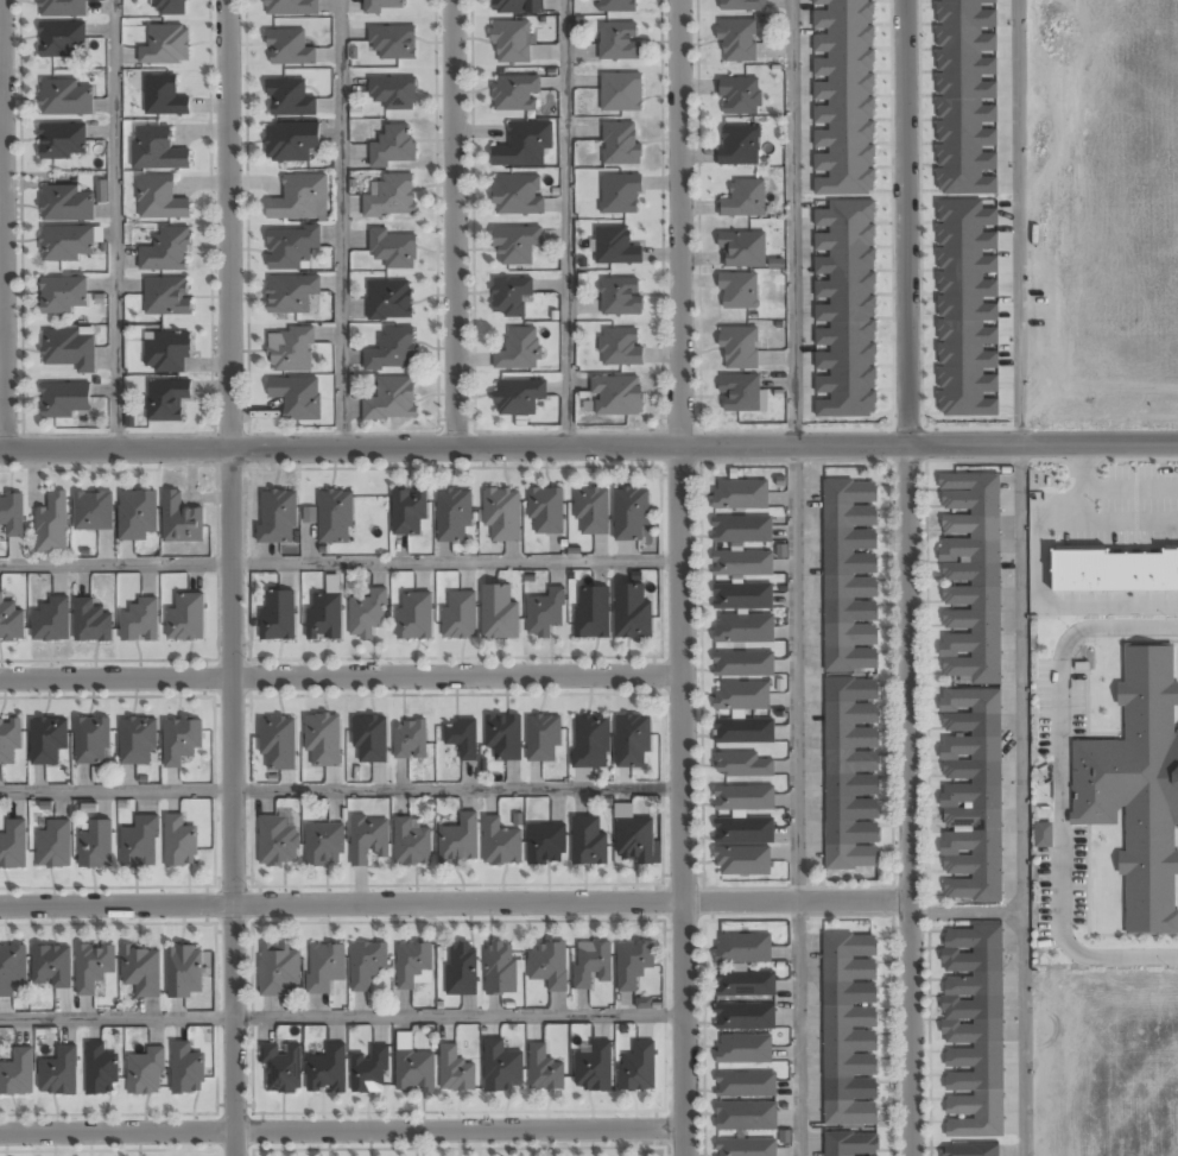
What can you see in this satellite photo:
building: (384, 5)
building: (740, 5)
building: (617, 6)
building: (169, 7)
building: (290, 7)
building: (515, 7)
building: (62, 8)
building: (736, 39)
building: (62, 40)
building: (392, 40)
building: (617, 42)
building: (509, 43)
building: (165, 45)
building: (289, 48)
building: (392, 91)
building: (619, 91)
building: (513, 93)
building: (163, 96)
building: (737, 96)
building: (843, 96)
building: (964, 96)
building: (64, 97)
building: (287, 99)
building: (62, 143)
building: (289, 143)
building: (620, 144)
building: (392, 145)
building: (522, 145)
building: (737, 146)
building: (156, 149)
building: (101, 190)
building: (620, 192)
building: (515, 195)
building: (391, 197)
building: (159, 198)
building: (299, 198)
building: (742, 200)
building: (66, 204)
road: (1018, 222)
road: (341, 223)
road: (455, 223)
road: (566, 223)
road: (2, 225)
road: (115, 225)
building: (65, 242)
building: (515, 245)
building: (614, 246)
building: (289, 247)
building: (166, 249)
building: (392, 249)
building: (741, 249)
building: (737, 292)
building: (290, 293)
building: (62, 295)
building: (166, 295)
building: (509, 296)
building: (619, 297)
building: (388, 301)
building: (844, 309)
building: (967, 309)
building: (617, 348)
building: (739, 348)
building: (68, 349)
building: (518, 349)
building: (289, 350)
building: (392, 350)
building: (165, 352)
building: (739, 393)
building: (296, 397)
building: (517, 397)
building: (615, 397)
building: (165, 399)
building: (391, 399)
building: (64, 400)
road: (589, 447)
building: (740, 495)
building: (545, 511)
building: (590, 511)
building: (93, 512)
building: (407, 512)
building: (629, 513)
building: (11, 514)
building: (135, 514)
building: (500, 514)
building: (451, 516)
building: (275, 517)
building: (334, 517)
building: (179, 520)
building: (51, 525)
building: (741, 530)
road: (341, 563)
building: (742, 564)
building: (1111, 570)
building: (849, 576)
road: (230, 577)
road: (682, 577)
road: (794, 577)
road: (905, 577)
building: (742, 596)
building: (498, 613)
building: (544, 613)
building: (591, 613)
building: (631, 613)
building: (366, 614)
building: (277, 615)
building: (413, 615)
building: (457, 615)
building: (323, 617)
building: (185, 619)
building: (51, 620)
building: (90, 621)
building: (139, 621)
building: (11, 623)
building: (742, 630)
building: (742, 664)
road: (341, 677)
building: (969, 687)
building: (741, 696)
building: (743, 732)
building: (460, 737)
building: (502, 737)
building: (9, 738)
building: (541, 738)
building: (47, 739)
building: (369, 739)
building: (408, 739)
building: (180, 740)
building: (322, 740)
building: (90, 741)
building: (137, 741)
building: (590, 741)
building: (632, 741)
building: (277, 745)
building: (741, 764)
building: (850, 773)
building: (1135, 785)
road: (341, 789)
road: (1057, 791)
building: (743, 798)
road: (1021, 801)
building: (743, 830)
building: (1043, 834)
building: (367, 839)
building: (457, 840)
building: (587, 840)
building: (634, 840)
building: (274, 841)
building: (178, 842)
building: (500, 842)
building: (138, 844)
building: (410, 844)
building: (545, 844)
building: (94, 845)
building: (323, 845)
building: (13, 846)
building: (52, 846)
building: (741, 861)
road: (454, 903)
road: (964, 911)
building: (742, 949)
building: (411, 962)
building: (365, 964)
building: (590, 964)
building: (632, 964)
building: (549, 965)
building: (323, 966)
building: (50, 967)
building: (91, 967)
building: (460, 967)
building: (500, 967)
building: (11, 969)
building: (184, 969)
building: (140, 971)
building: (278, 971)
building: (722, 985)
road: (341, 1016)
building: (745, 1017)
building: (849, 1030)
building: (971, 1032)
building: (742, 1049)
building: (593, 1065)
building: (281, 1067)
building: (500, 1067)
building: (636, 1068)
building: (186, 1069)
building: (412, 1069)
building: (99, 1070)
building: (327, 1070)
building: (455, 1070)
building: (543, 1070)
building: (368, 1072)
building: (58, 1073)
building: (145, 1073)
building: (17, 1074)
building: (745, 1085)
building: (746, 1114)
road: (342, 1130)
building: (851, 1143)
building: (749, 1149)
building: (970, 1149)

